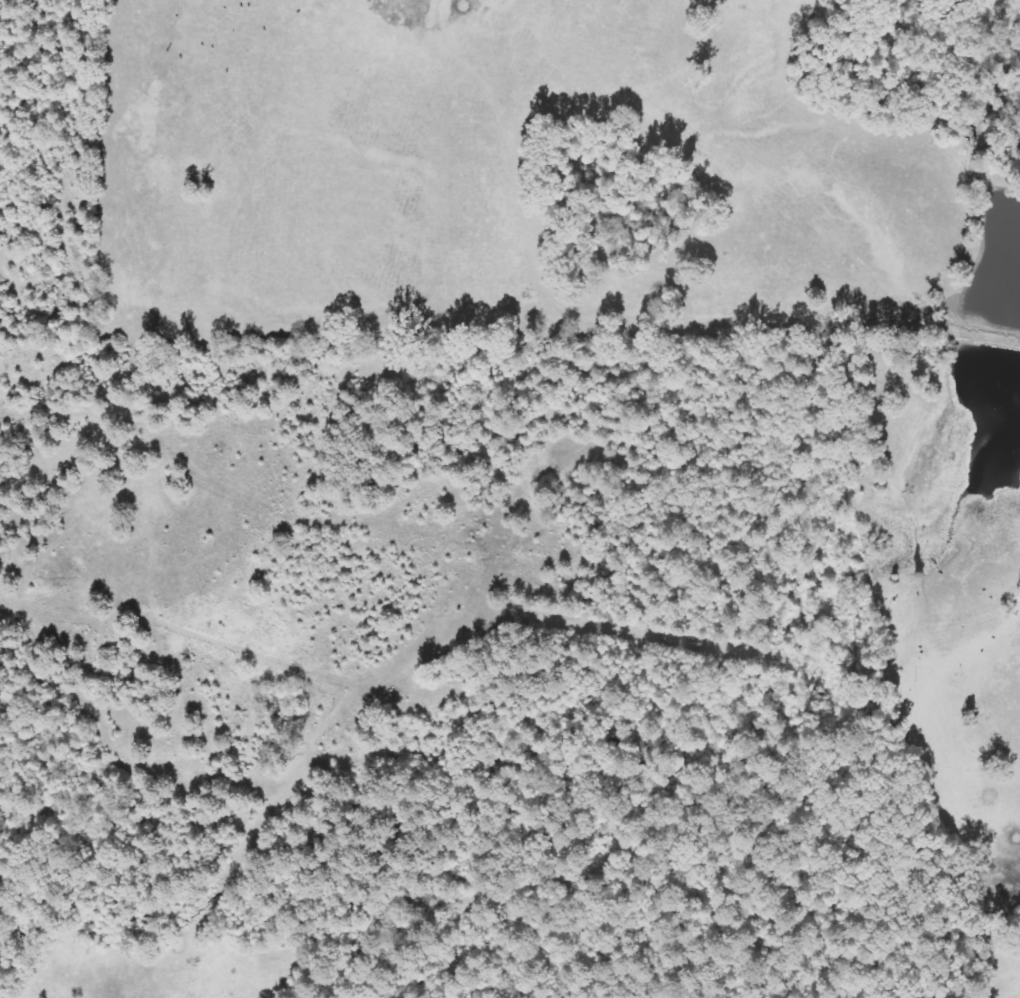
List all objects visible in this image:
road: (850, 321)

